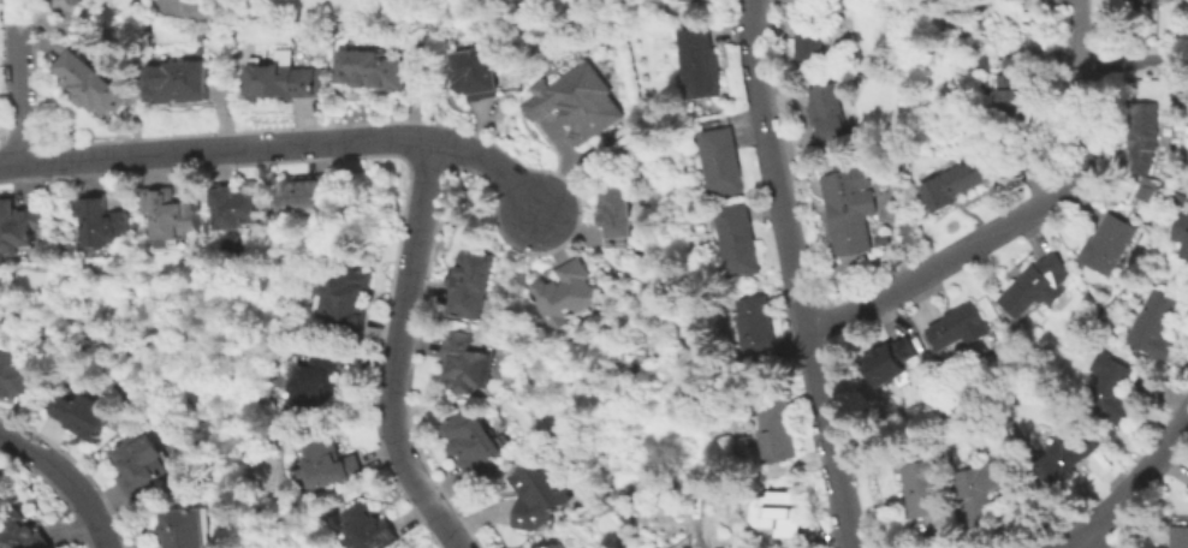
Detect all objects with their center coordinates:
building: (75, 0)
building: (587, 0)
building: (699, 1)
building: (1147, 4)
road: (7, 24)
building: (810, 37)
building: (701, 59)
building: (975, 59)
road: (1135, 64)
building: (370, 72)
building: (476, 72)
building: (179, 83)
building: (90, 88)
building: (284, 88)
building: (1011, 88)
road: (16, 93)
building: (578, 107)
building: (827, 111)
building: (1142, 137)
road: (280, 145)
building: (1186, 147)
building: (721, 159)
building: (958, 179)
building: (1146, 189)
building: (304, 191)
building: (1178, 198)
building: (237, 204)
building: (849, 209)
road: (1018, 216)
building: (170, 218)
building: (616, 218)
building: (100, 220)
building: (18, 225)
building: (1178, 238)
building: (741, 240)
building: (1107, 244)
road: (790, 274)
building: (470, 284)
building: (1039, 286)
building: (565, 294)
building: (344, 298)
building: (1153, 326)
building: (961, 328)
building: (756, 333)
road: (396, 352)
building: (891, 361)
building: (464, 363)
building: (13, 374)
building: (314, 379)
building: (1111, 388)
building: (83, 413)
building: (779, 428)
building: (471, 443)
building: (1065, 459)
building: (142, 465)
building: (329, 465)
road: (67, 478)
road: (1129, 483)
building: (922, 484)
building: (987, 486)
building: (540, 495)
building: (780, 512)
building: (180, 526)
building: (368, 526)
building: (25, 531)
building: (1180, 537)
road: (1093, 538)
building: (542, 546)
building: (554, 546)

